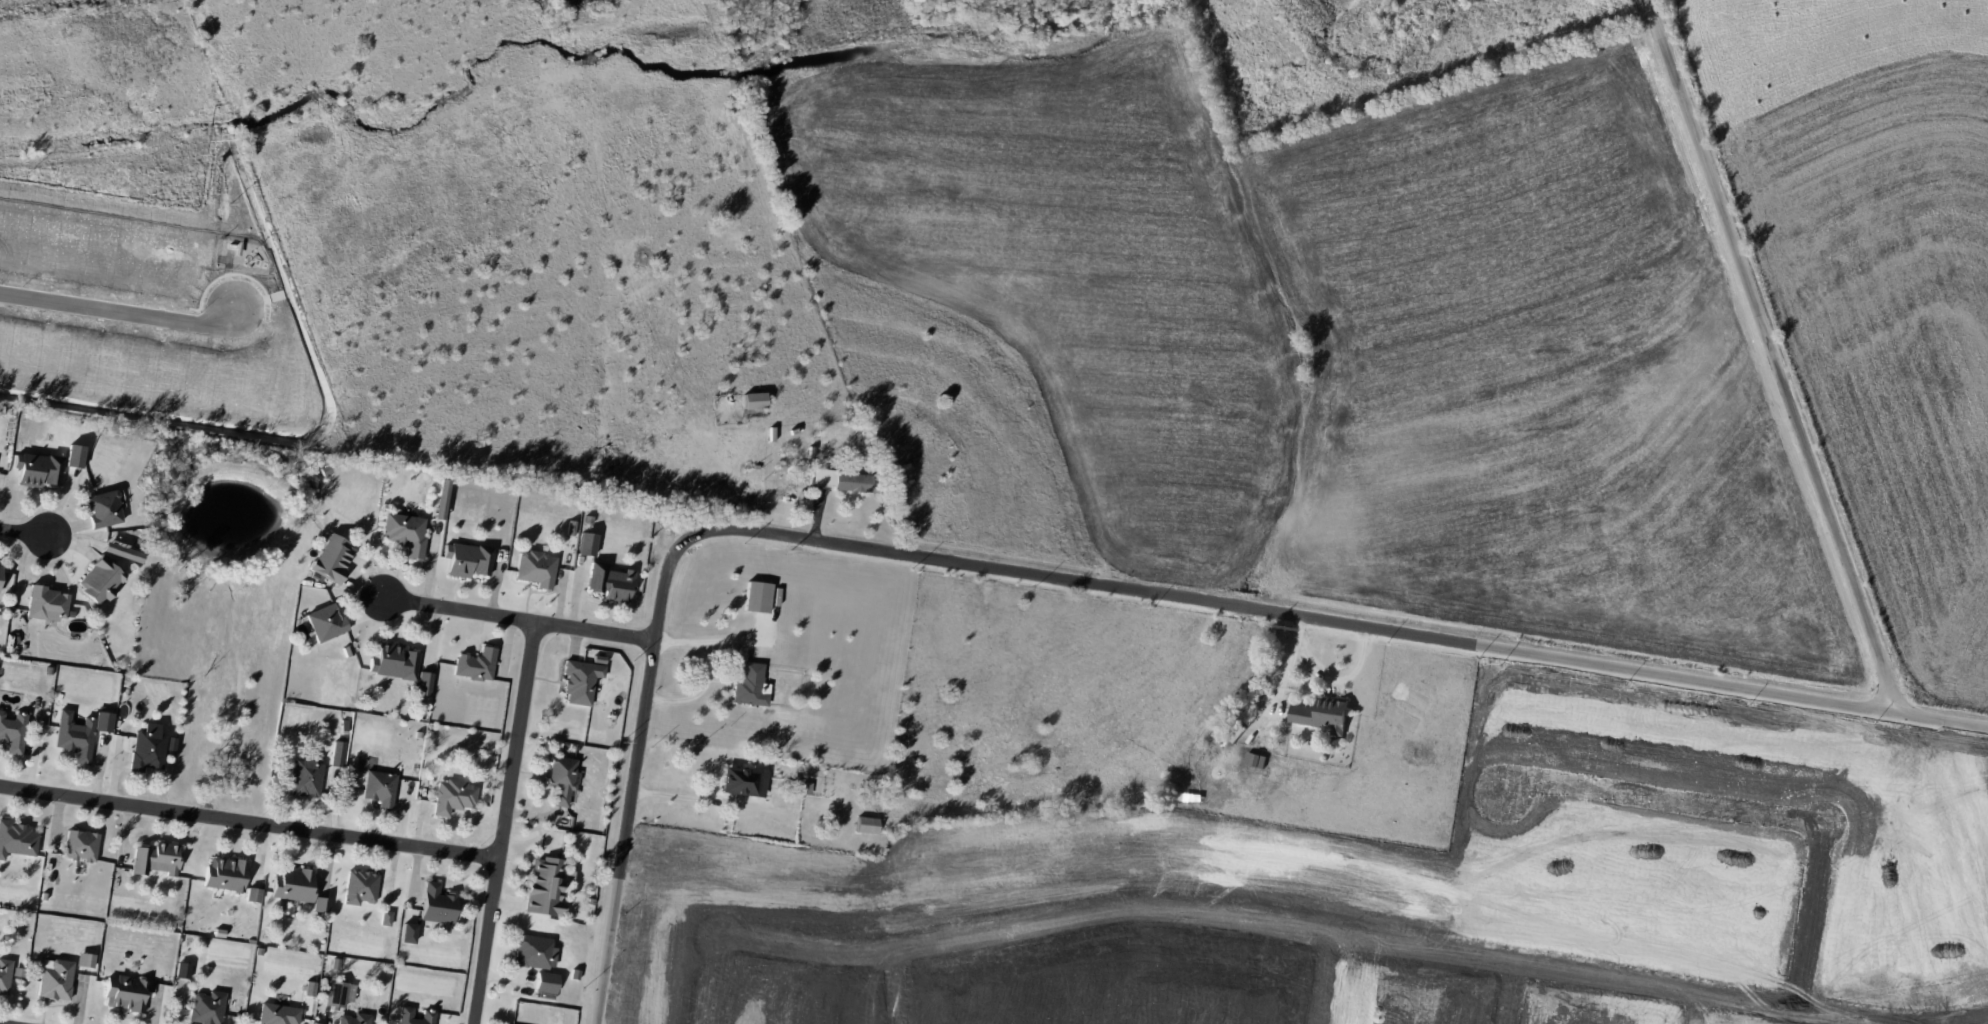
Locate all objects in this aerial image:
road: (124, 315)
road: (1771, 358)
building: (822, 476)
building: (103, 510)
building: (404, 533)
road: (22, 534)
building: (122, 552)
building: (332, 558)
building: (466, 559)
building: (0, 570)
building: (535, 578)
building: (100, 579)
building: (611, 585)
road: (1093, 586)
building: (756, 597)
building: (47, 604)
road: (520, 620)
building: (324, 623)
road: (702, 640)
building: (393, 662)
building: (475, 664)
building: (580, 681)
building: (422, 684)
building: (750, 685)
road: (699, 691)
building: (1322, 715)
building: (12, 731)
building: (79, 733)
building: (147, 748)
building: (336, 753)
building: (305, 776)
building: (560, 779)
building: (743, 781)
building: (378, 788)
building: (802, 788)
building: (452, 797)
road: (678, 797)
road: (250, 820)
road: (504, 823)
building: (867, 825)
building: (16, 839)
building: (80, 845)
building: (155, 859)
building: (224, 874)
building: (292, 885)
building: (359, 887)
building: (252, 894)
building: (437, 904)
building: (320, 905)
building: (385, 918)
building: (407, 933)
building: (534, 952)
building: (84, 960)
building: (182, 970)
building: (4, 975)
building: (54, 979)
building: (545, 982)
building: (124, 993)
building: (338, 994)
building: (206, 1008)
building: (277, 1014)
building: (405, 1014)
building: (353, 1019)

